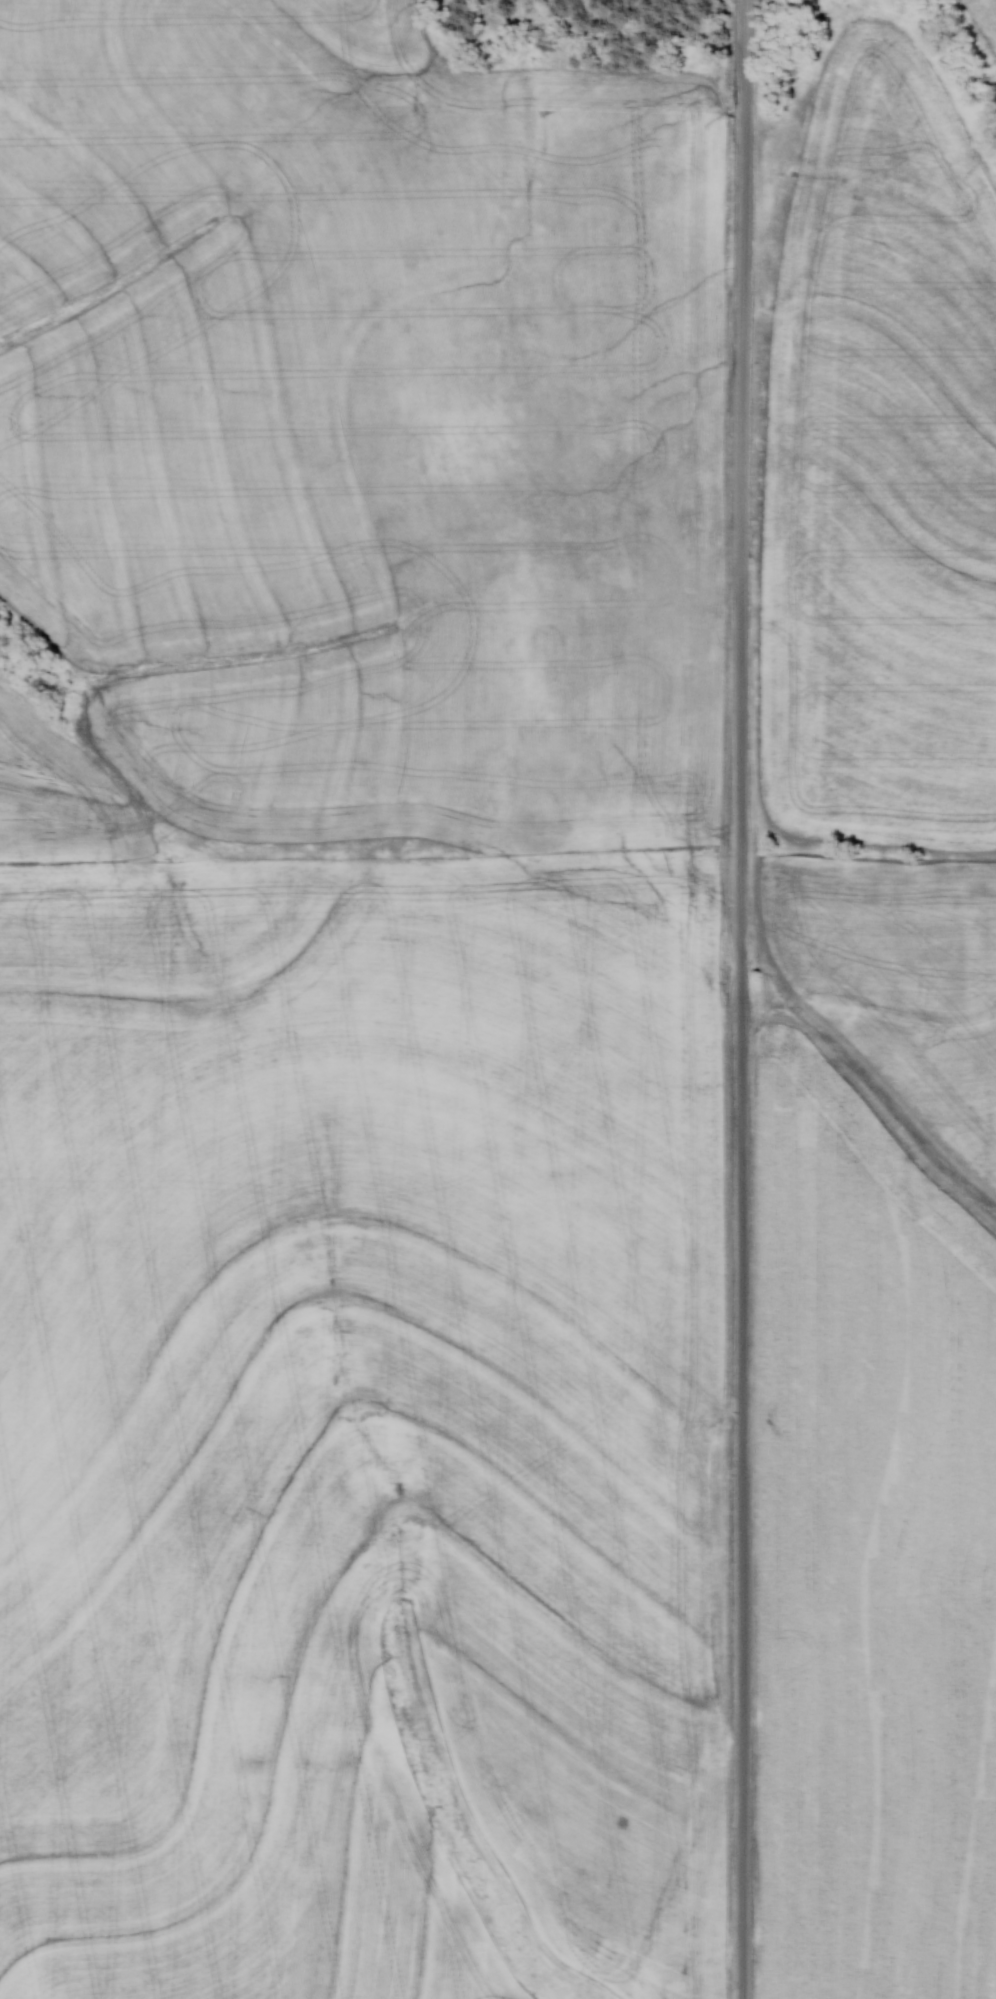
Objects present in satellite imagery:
road: (745, 999)

